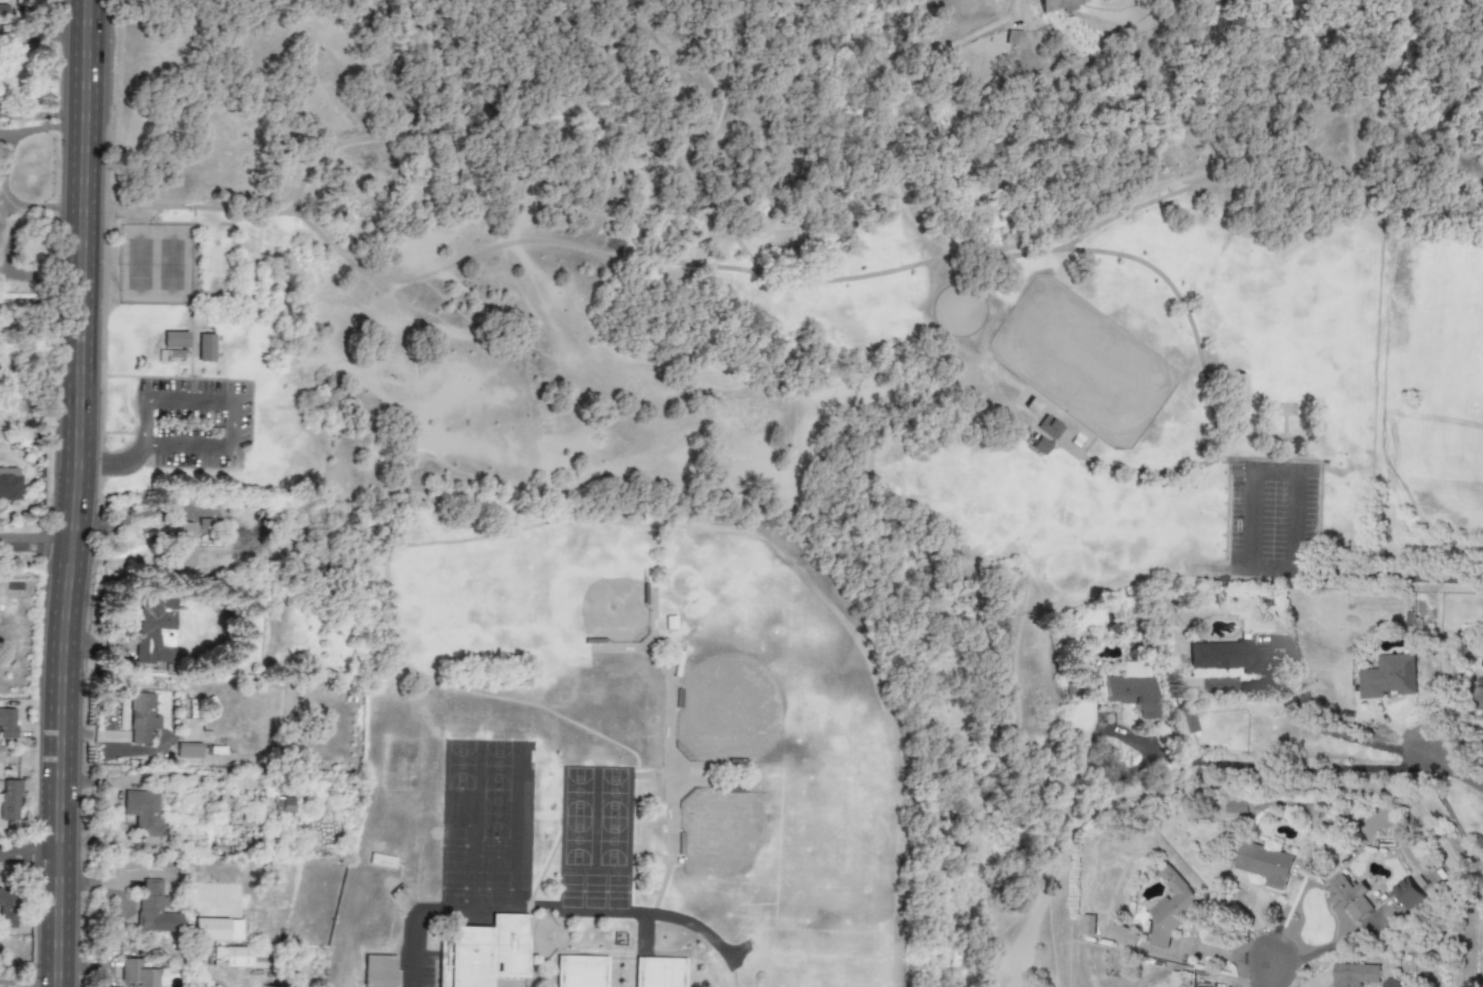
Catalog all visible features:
building: (1060, 4)
building: (3, 10)
road: (43, 35)
building: (1013, 35)
road: (544, 75)
road: (42, 113)
road: (4, 168)
park: (155, 265)
park: (814, 279)
road: (806, 283)
road: (39, 299)
road: (1188, 318)
park: (1316, 328)
building: (175, 340)
building: (206, 348)
building: (1236, 393)
road: (232, 403)
building: (1031, 406)
parking lot: (193, 423)
building: (1049, 427)
building: (1037, 442)
road: (112, 465)
road: (1149, 472)
building: (9, 484)
road: (1251, 485)
road: (74, 493)
parking lot: (1273, 519)
building: (203, 526)
road: (36, 540)
building: (184, 544)
road: (1401, 578)
park: (619, 616)
building: (155, 632)
building: (1226, 657)
building: (1389, 675)
building: (1133, 693)
building: (1479, 699)
building: (142, 718)
building: (7, 723)
building: (1188, 723)
road: (1331, 732)
building: (189, 751)
road: (1282, 767)
road: (1454, 768)
building: (9, 800)
road: (110, 803)
building: (284, 805)
building: (1235, 805)
building: (144, 814)
road: (1448, 820)
park: (726, 829)
building: (1480, 844)
road: (28, 856)
building: (1263, 862)
building: (1410, 893)
building: (1350, 896)
building: (1173, 905)
building: (7, 907)
building: (154, 909)
road: (553, 914)
building: (1088, 923)
building: (210, 930)
building: (1125, 935)
road: (1334, 945)
building: (481, 950)
building: (234, 957)
building: (659, 969)
building: (582, 970)
building: (379, 971)
building: (137, 975)
road: (1268, 975)
building: (1357, 975)
building: (1389, 983)

